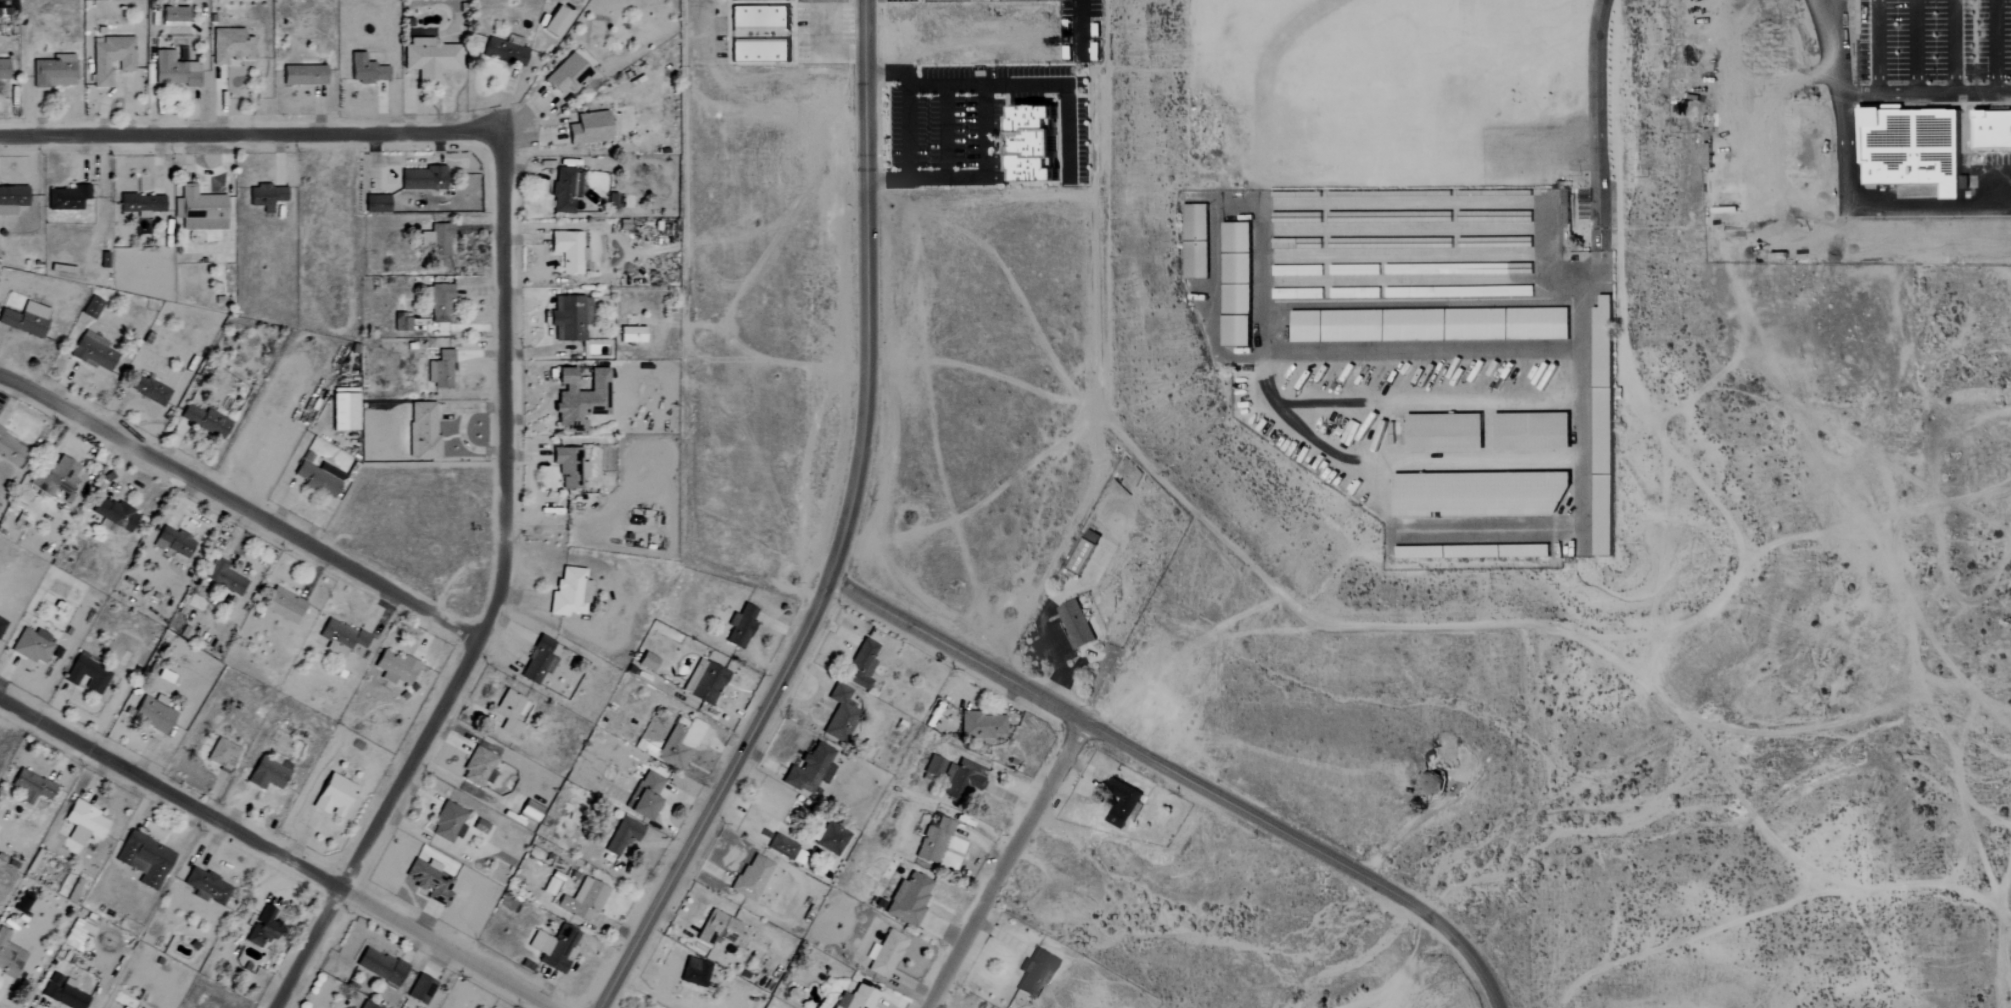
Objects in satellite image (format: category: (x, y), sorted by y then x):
building: (749, 0)
building: (991, 0)
building: (174, 16)
building: (759, 16)
building: (556, 22)
road: (695, 25)
road: (823, 44)
building: (230, 46)
building: (504, 50)
building: (759, 51)
building: (110, 58)
building: (430, 59)
building: (4, 70)
building: (174, 70)
building: (366, 70)
building: (53, 71)
building: (568, 74)
building: (303, 75)
road: (1031, 84)
road: (906, 125)
building: (589, 128)
road: (249, 134)
building: (1035, 143)
road: (1598, 146)
road: (982, 169)
building: (422, 178)
building: (565, 190)
building: (14, 196)
building: (265, 196)
building: (67, 198)
building: (140, 204)
building: (376, 204)
building: (1566, 206)
building: (199, 210)
building: (437, 239)
building: (568, 251)
building: (439, 303)
building: (91, 307)
building: (570, 318)
building: (25, 319)
building: (402, 322)
building: (631, 335)
building: (93, 352)
building: (1410, 360)
building: (440, 370)
building: (148, 390)
building: (580, 399)
building: (343, 410)
building: (206, 420)
building: (424, 430)
building: (11, 450)
building: (569, 467)
building: (317, 476)
building: (57, 477)
road: (242, 504)
building: (113, 515)
road: (841, 531)
building: (174, 542)
building: (1084, 552)
building: (225, 578)
building: (569, 593)
road: (499, 600)
building: (286, 601)
building: (1, 624)
building: (1075, 624)
building: (740, 627)
building: (345, 640)
building: (31, 646)
building: (538, 661)
building: (647, 662)
building: (861, 665)
building: (396, 668)
building: (86, 675)
building: (704, 682)
building: (510, 712)
building: (153, 713)
building: (839, 715)
building: (981, 725)
building: (679, 743)
building: (222, 754)
building: (935, 766)
building: (478, 768)
road: (1167, 769)
building: (810, 770)
building: (268, 773)
building: (962, 779)
building: (1433, 783)
building: (31, 787)
building: (333, 796)
building: (645, 796)
building: (1123, 803)
building: (530, 811)
road: (762, 820)
building: (83, 823)
building: (448, 823)
building: (479, 826)
road: (1397, 835)
building: (622, 836)
building: (933, 841)
building: (786, 850)
road: (273, 853)
building: (144, 859)
road: (1004, 865)
building: (751, 877)
building: (429, 881)
building: (549, 886)
building: (206, 887)
road: (1815, 896)
building: (909, 899)
building: (583, 900)
building: (22, 903)
building: (263, 928)
building: (716, 929)
building: (77, 936)
building: (554, 948)
building: (886, 954)
building: (9, 956)
road: (1406, 965)
building: (381, 967)
building: (695, 972)
building: (1035, 974)
building: (421, 990)
building: (62, 992)
road: (1494, 995)
building: (855, 998)
building: (365, 1005)
building: (111, 1006)

